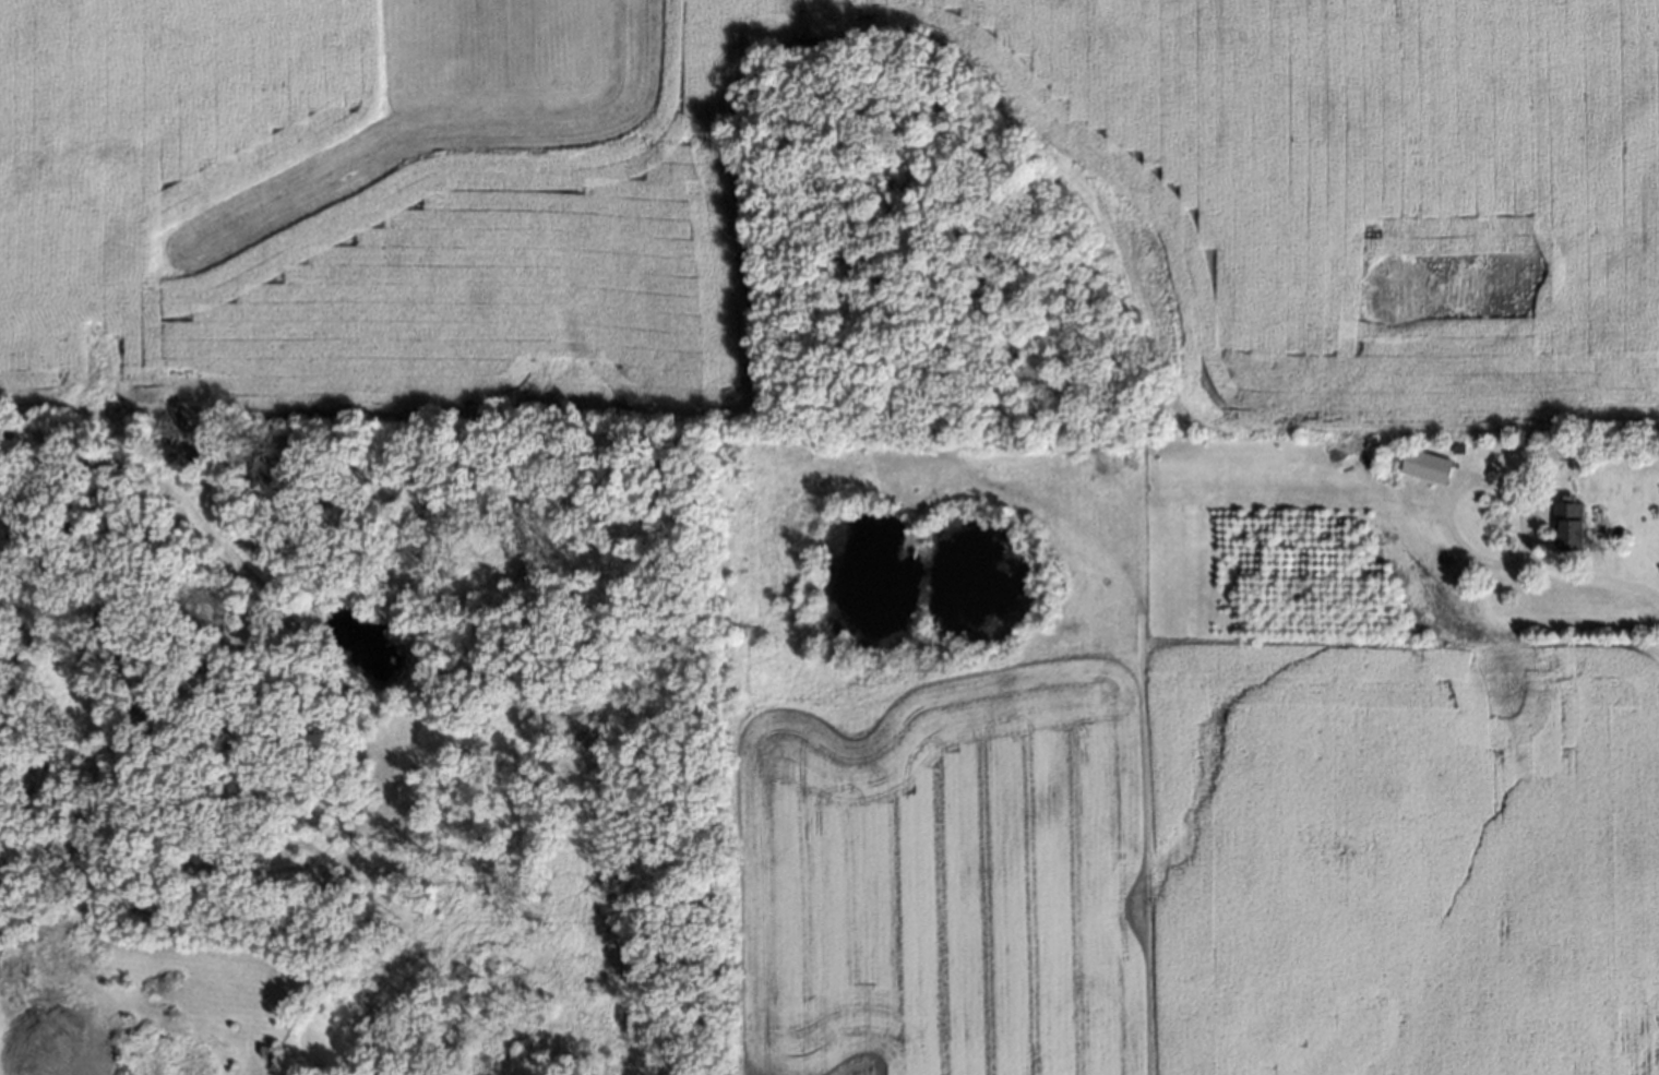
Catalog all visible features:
building: (1455, 447)
building: (1424, 462)
road: (1449, 493)
building: (1570, 527)
road: (1595, 581)

